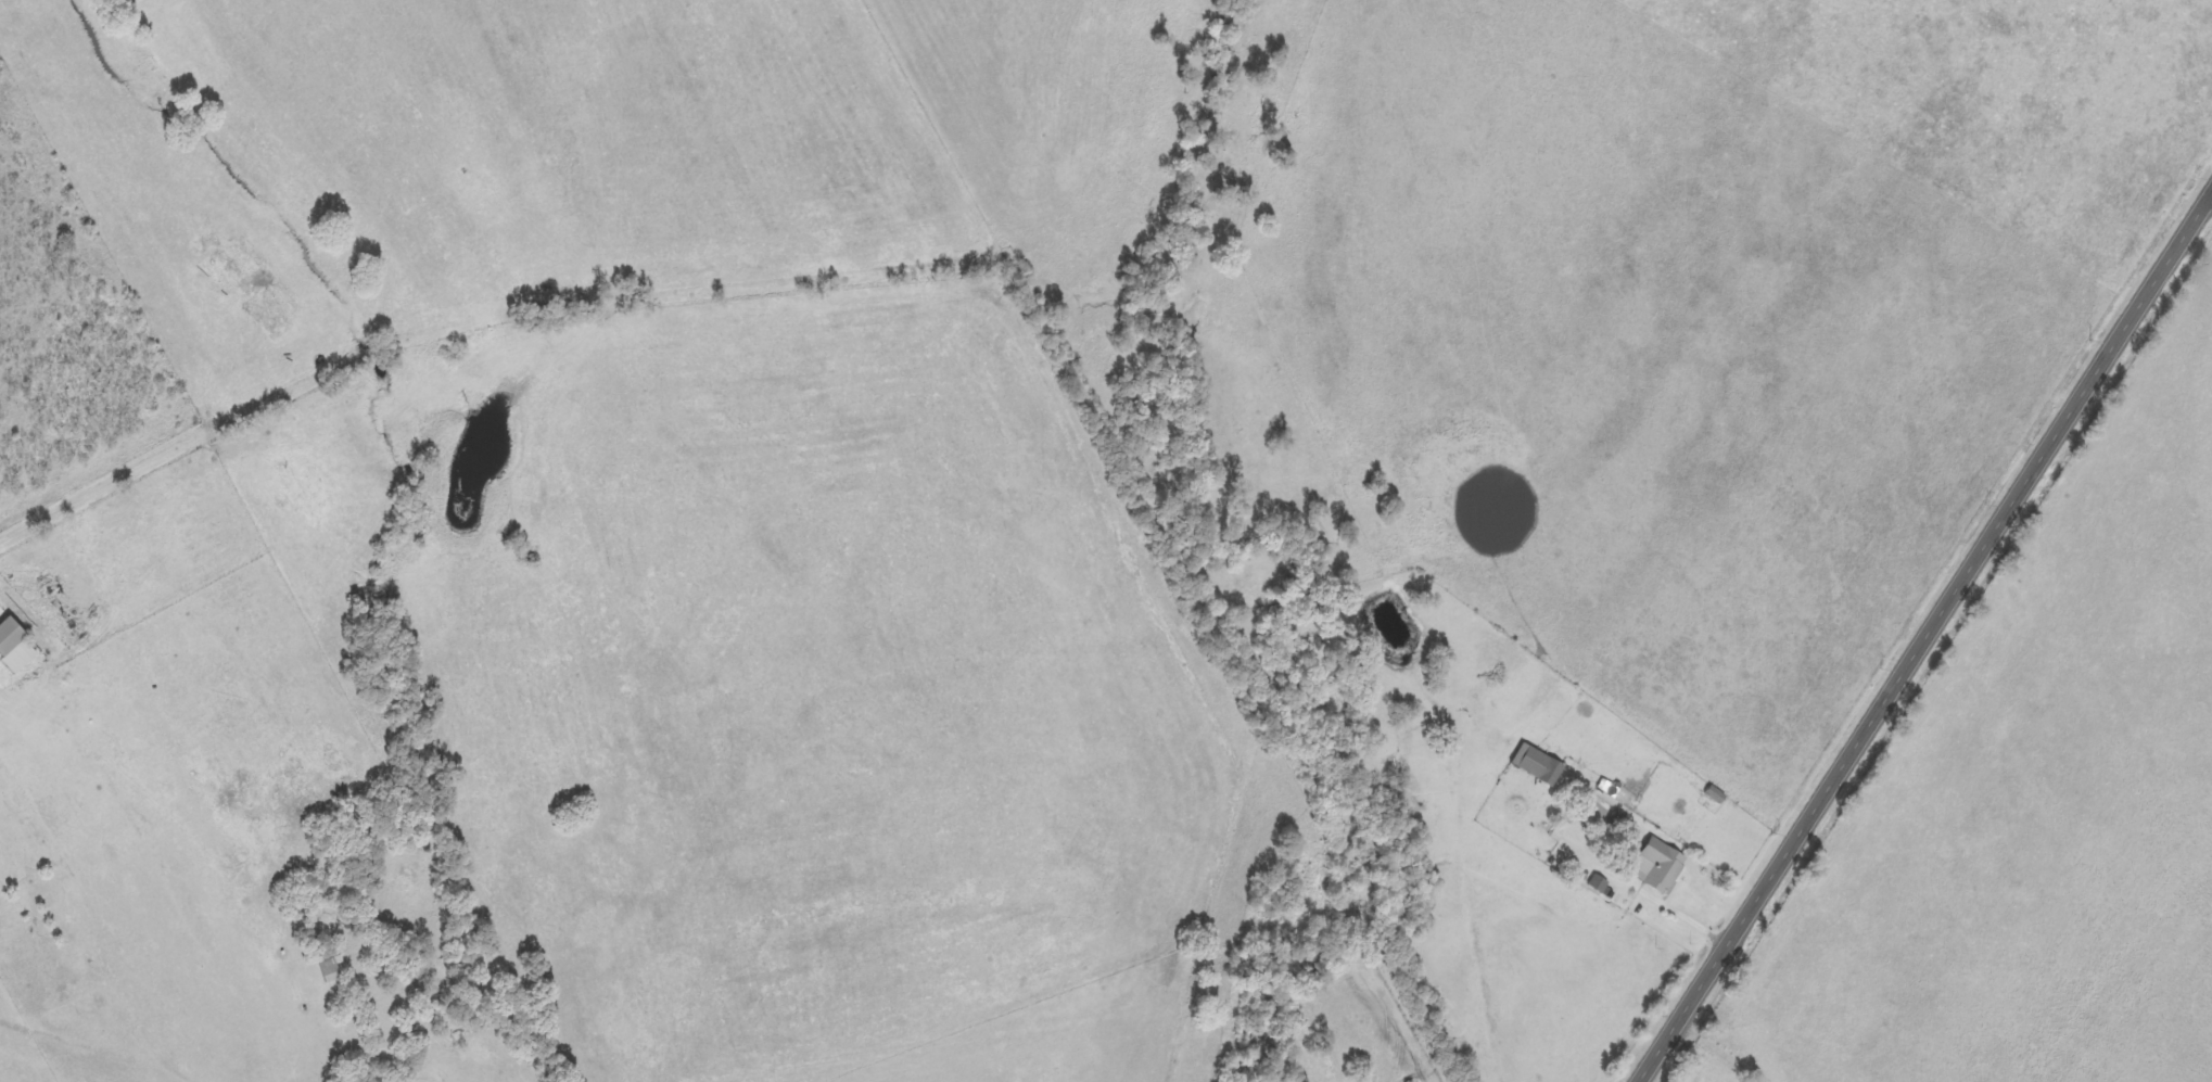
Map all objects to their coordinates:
road: (1923, 642)
building: (14, 648)
building: (1538, 766)
building: (1658, 867)
building: (1599, 884)

